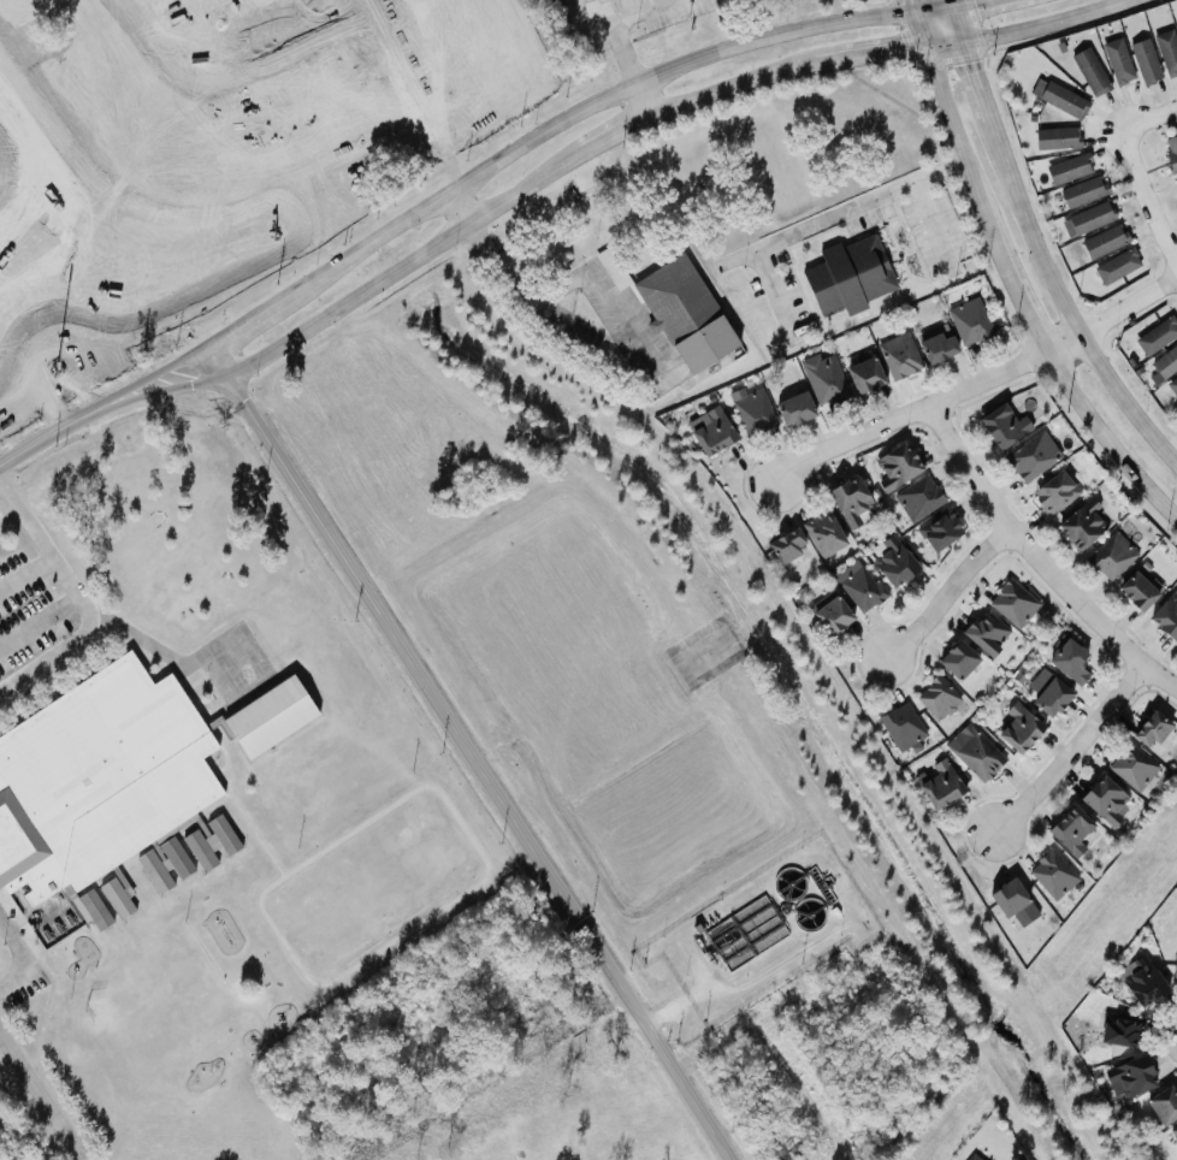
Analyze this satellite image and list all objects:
road: (983, 5)
traffic signals: (983, 6)
road: (923, 7)
road: (645, 12)
road: (960, 17)
road: (1024, 23)
road: (598, 24)
road: (380, 42)
traffic signals: (900, 43)
road: (874, 46)
building: (1167, 51)
building: (1117, 60)
traffic signals: (976, 61)
building: (1145, 61)
road: (629, 65)
building: (1089, 70)
road: (980, 73)
road: (729, 81)
road: (398, 87)
road: (610, 100)
building: (1063, 100)
road: (644, 101)
road: (1148, 117)
road: (962, 125)
road: (615, 130)
road: (420, 134)
building: (1057, 138)
building: (1171, 152)
building: (1069, 167)
building: (1176, 182)
road: (527, 183)
building: (1176, 183)
building: (1082, 191)
road: (1143, 200)
road: (466, 207)
road: (827, 218)
building: (1087, 218)
road: (933, 220)
road: (440, 239)
building: (1104, 241)
building: (1116, 266)
building: (847, 276)
road: (558, 288)
road: (1022, 292)
road: (1065, 296)
road: (1130, 303)
building: (676, 308)
road: (319, 320)
building: (969, 320)
road: (259, 322)
building: (1158, 332)
building: (936, 343)
building: (899, 355)
building: (1166, 361)
road: (184, 365)
building: (864, 374)
road: (190, 375)
building: (823, 377)
building: (1173, 384)
road: (930, 408)
building: (794, 409)
building: (753, 412)
road: (77, 420)
building: (1004, 425)
building: (712, 432)
road: (1105, 439)
building: (1031, 456)
building: (897, 466)
building: (1053, 492)
building: (917, 497)
building: (852, 503)
building: (1084, 523)
building: (940, 529)
building: (823, 533)
building: (787, 548)
building: (1111, 555)
building: (893, 561)
road: (1036, 562)
road: (28, 574)
building: (858, 585)
building: (1136, 590)
road: (79, 596)
road: (945, 596)
building: (1012, 603)
building: (832, 614)
building: (1166, 615)
road: (40, 621)
building: (987, 633)
building: (958, 658)
building: (1069, 659)
building: (936, 697)
building: (1051, 697)
building: (266, 716)
building: (900, 726)
building: (1018, 726)
building: (1152, 729)
road: (1072, 747)
road: (471, 753)
building: (976, 753)
building: (1131, 765)
building: (100, 774)
building: (940, 785)
building: (1106, 800)
building: (1070, 829)
building: (213, 831)
building: (199, 850)
building: (175, 857)
building: (153, 871)
building: (1052, 874)
building: (117, 895)
building: (1009, 896)
building: (88, 907)
road: (30, 952)
building: (1175, 965)
road: (747, 980)
building: (1143, 982)
building: (1120, 1030)
building: (1130, 1077)
road: (43, 1091)
building: (1164, 1105)
building: (1173, 1131)
building: (971, 1158)

